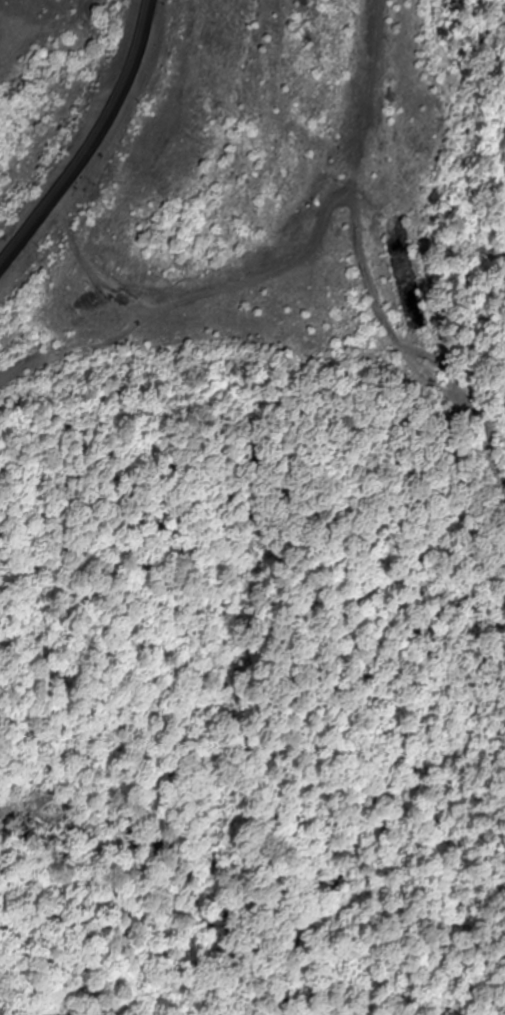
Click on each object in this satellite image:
road: (334, 343)

